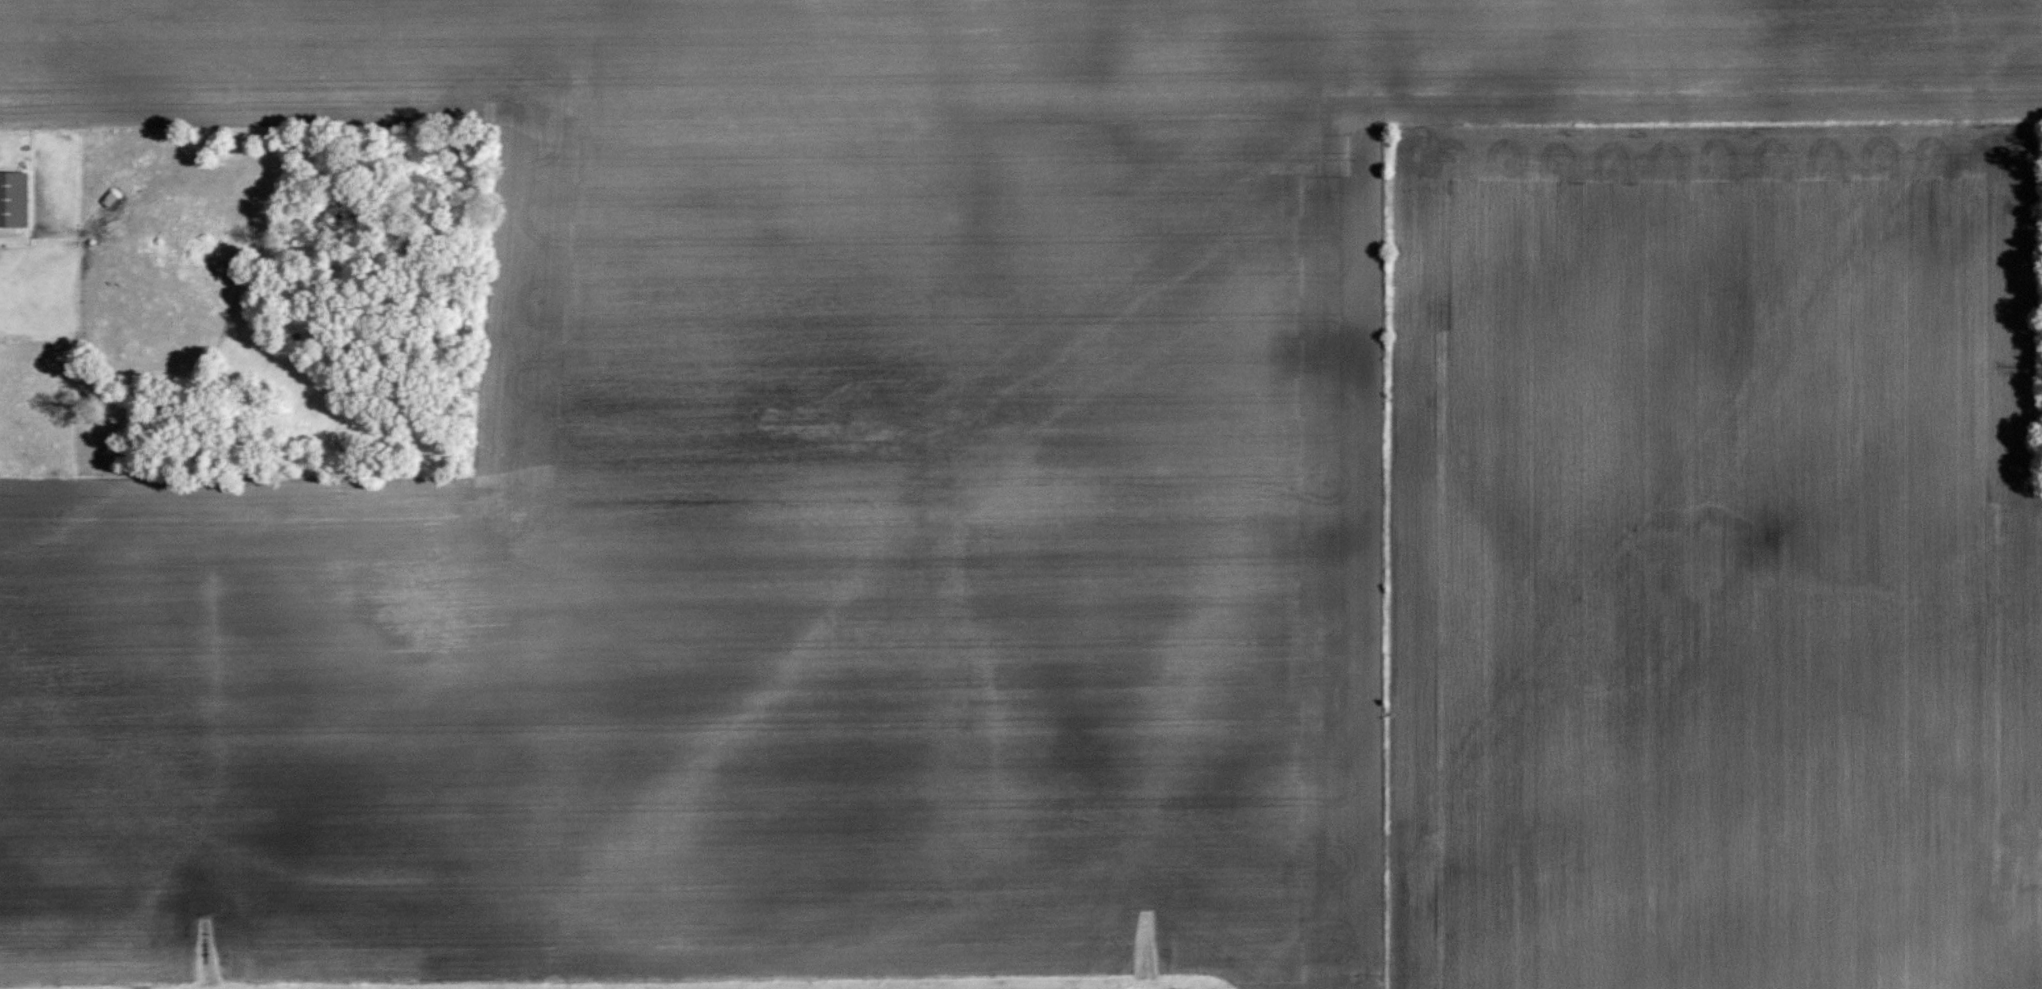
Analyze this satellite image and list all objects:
building: (14, 199)
road: (13, 232)

